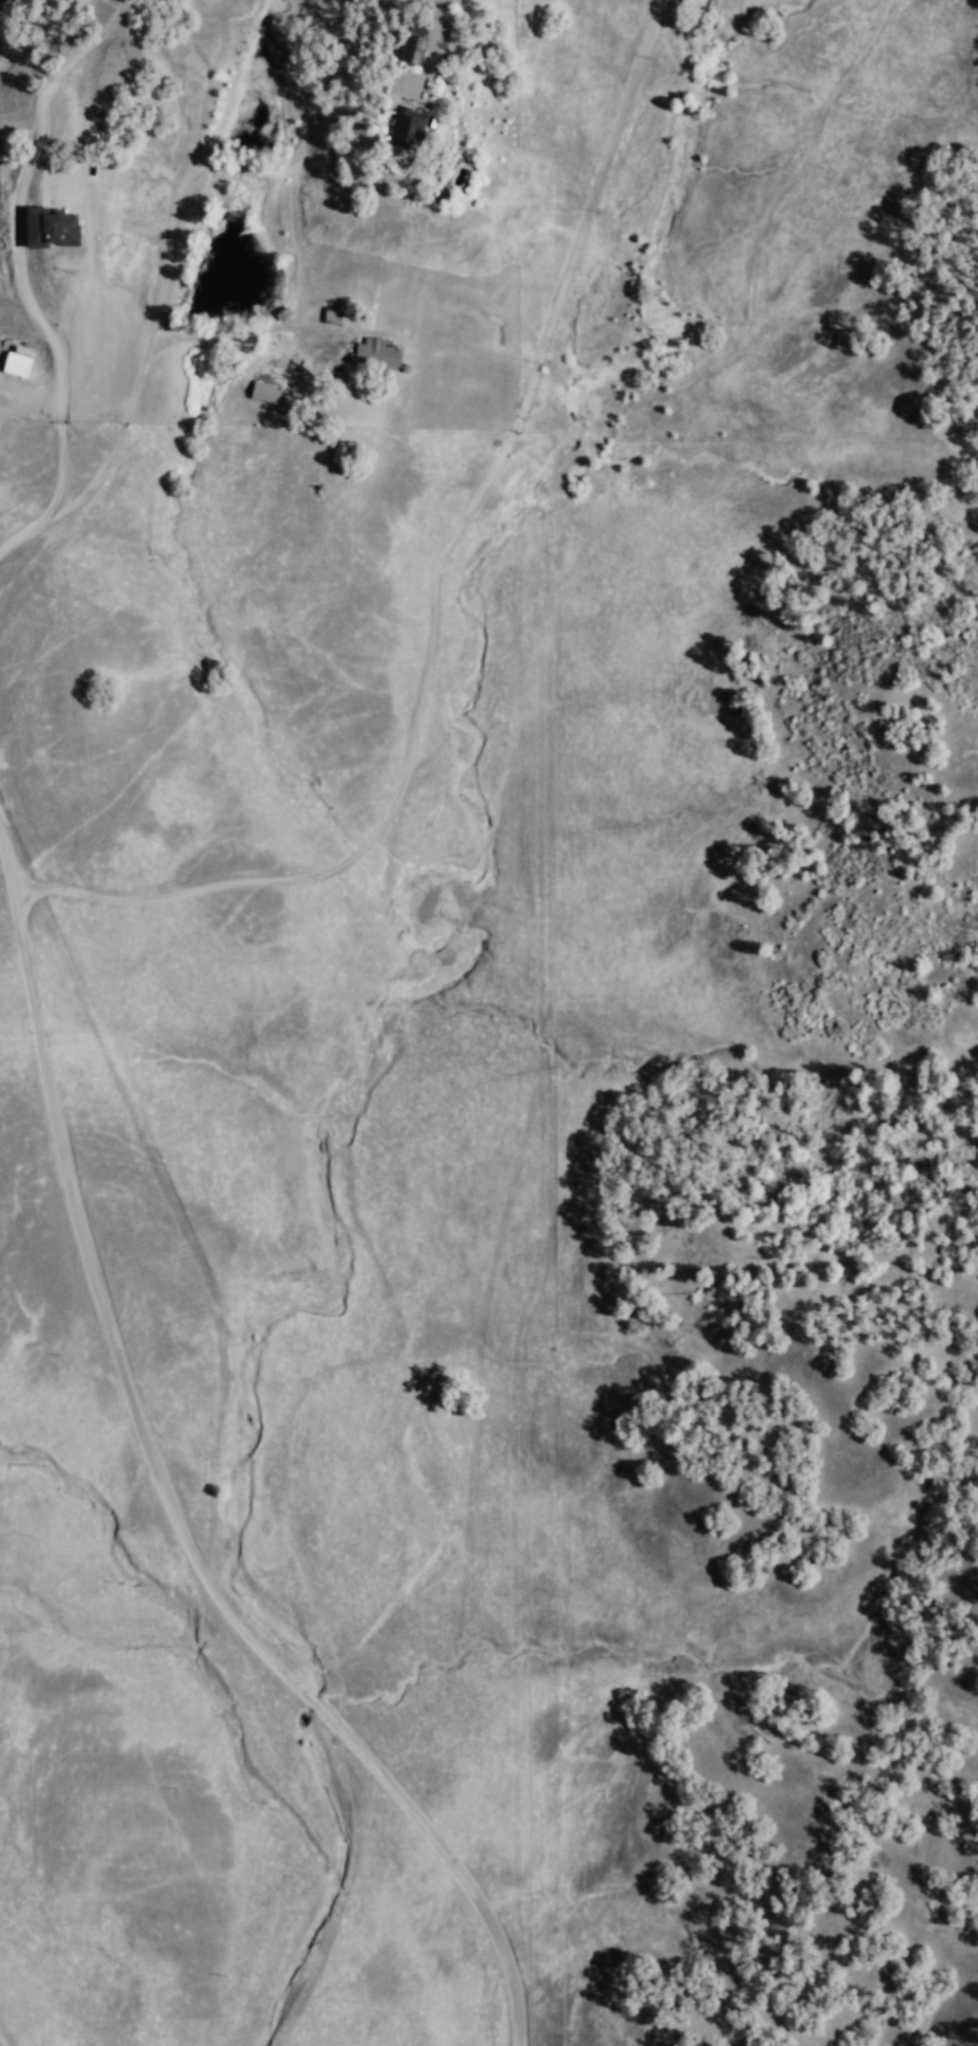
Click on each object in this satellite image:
road: (430, 51)
building: (392, 124)
road: (173, 204)
building: (43, 227)
road: (22, 248)
building: (326, 314)
road: (305, 325)
building: (372, 351)
building: (13, 362)
building: (261, 391)
road: (28, 542)
road: (440, 587)
road: (13, 858)
road: (182, 1519)

